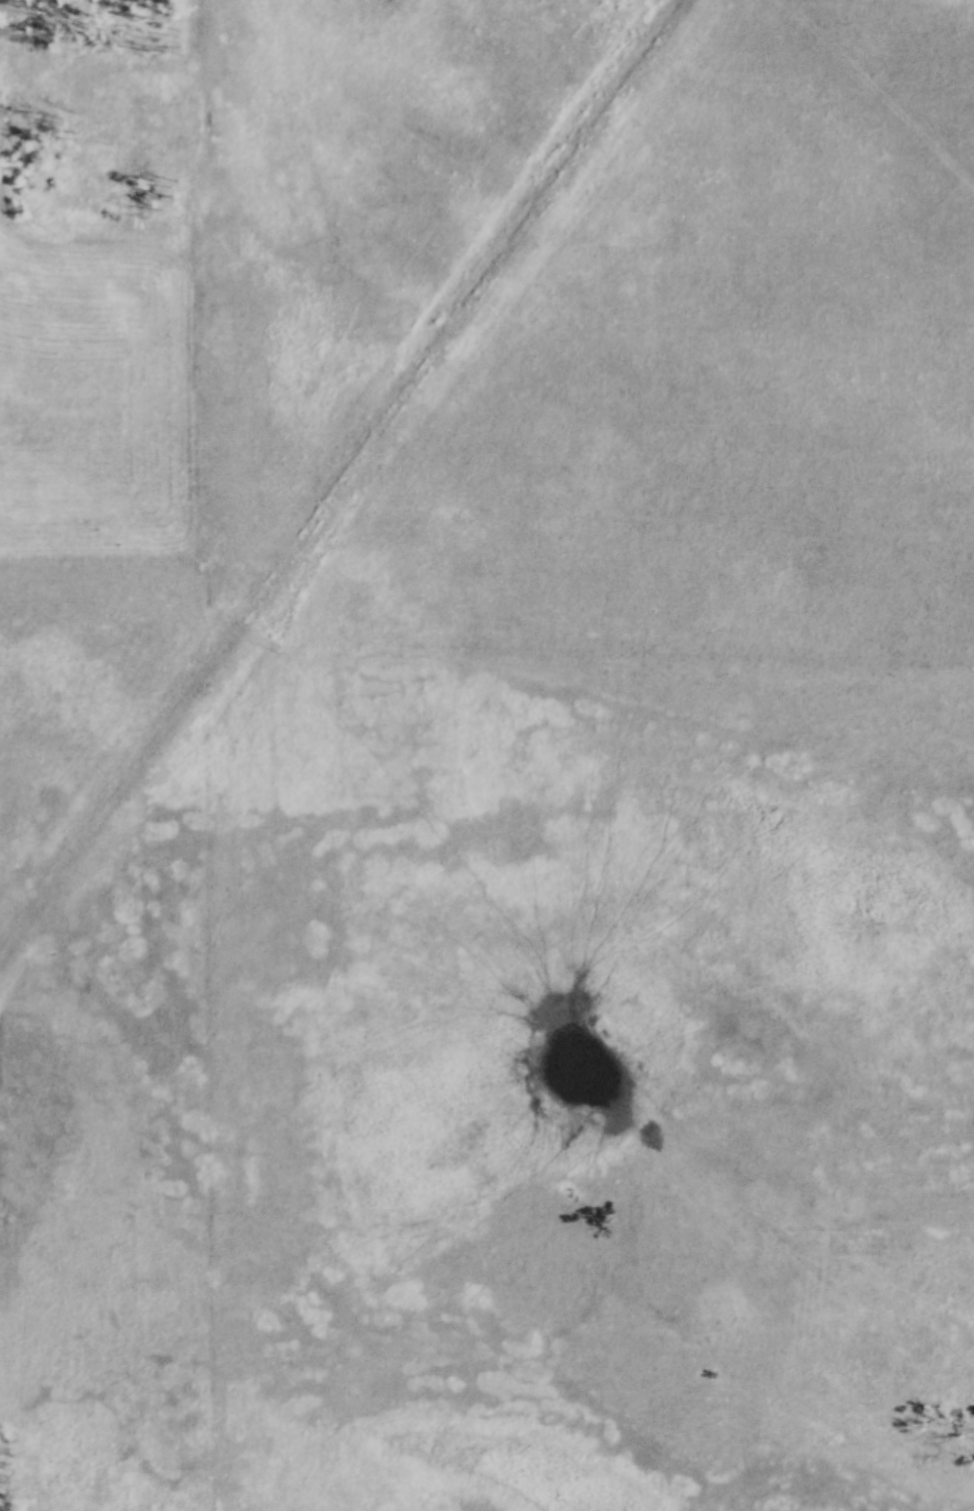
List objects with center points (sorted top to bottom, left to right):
road: (884, 87)

